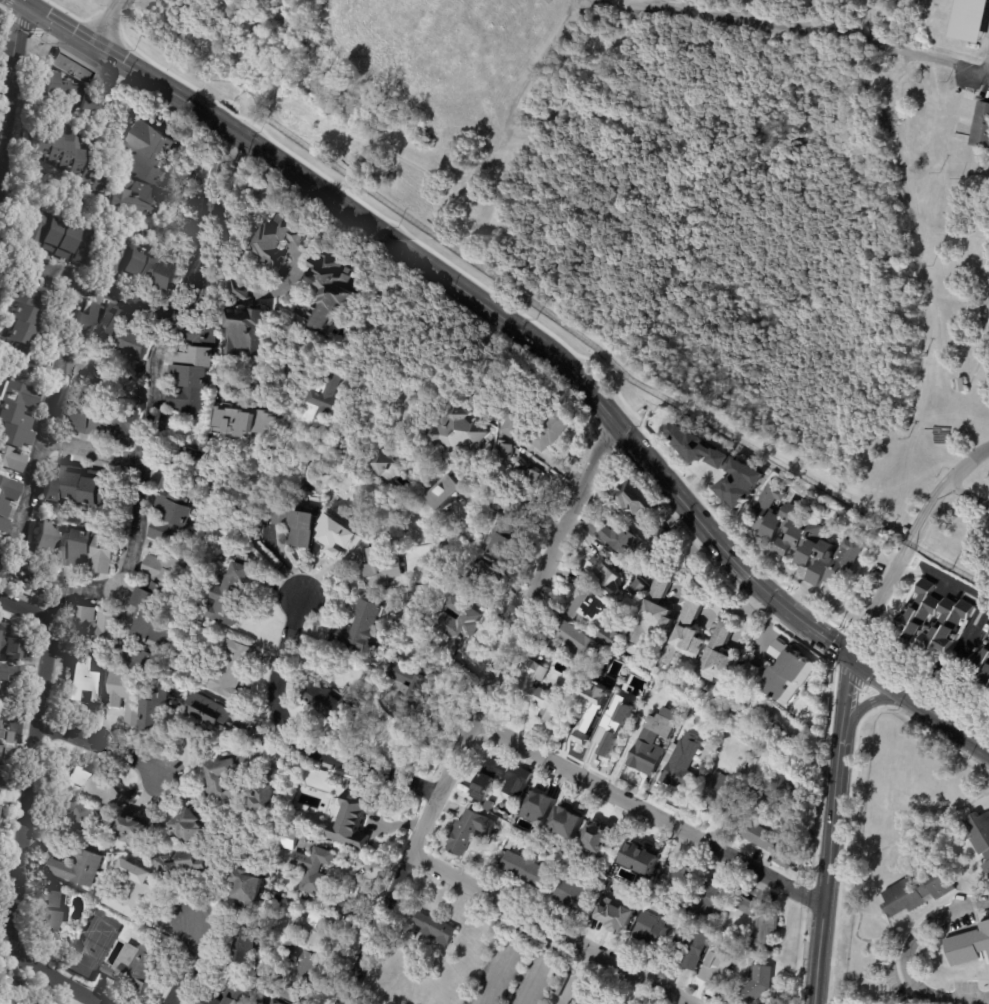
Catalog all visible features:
traffic signals: (19, 2)
building: (969, 20)
road: (108, 24)
road: (810, 26)
building: (71, 68)
road: (9, 69)
building: (76, 96)
building: (982, 124)
building: (71, 158)
building: (144, 172)
building: (53, 233)
building: (278, 236)
road: (315, 247)
building: (139, 267)
building: (328, 287)
road: (467, 291)
road: (119, 292)
building: (243, 324)
building: (30, 328)
building: (114, 329)
building: (191, 369)
building: (961, 385)
building: (222, 386)
building: (490, 388)
building: (320, 397)
building: (236, 417)
building: (100, 418)
building: (511, 424)
building: (16, 425)
building: (275, 426)
building: (314, 428)
building: (553, 428)
building: (456, 434)
building: (322, 439)
building: (341, 445)
road: (86, 447)
building: (505, 449)
road: (549, 459)
building: (385, 463)
building: (520, 464)
building: (720, 467)
building: (84, 488)
building: (448, 490)
building: (520, 494)
road: (968, 495)
building: (175, 498)
building: (636, 498)
building: (7, 501)
building: (282, 513)
building: (302, 527)
building: (662, 536)
building: (623, 537)
building: (806, 539)
building: (500, 543)
road: (909, 547)
building: (76, 548)
road: (129, 550)
building: (653, 553)
building: (624, 564)
building: (382, 567)
road: (794, 573)
building: (606, 577)
building: (481, 580)
road: (943, 581)
building: (637, 586)
road: (706, 591)
building: (233, 595)
road: (838, 603)
building: (589, 606)
road: (26, 608)
building: (655, 614)
building: (156, 617)
building: (929, 620)
building: (96, 627)
building: (462, 628)
building: (361, 629)
building: (688, 635)
building: (613, 636)
building: (10, 642)
building: (580, 642)
building: (721, 656)
traffic signals: (854, 662)
building: (982, 666)
building: (232, 670)
building: (781, 672)
building: (747, 675)
building: (85, 678)
building: (10, 680)
building: (414, 688)
building: (543, 690)
building: (127, 694)
road: (871, 701)
building: (335, 703)
building: (592, 706)
road: (920, 706)
building: (161, 709)
road: (478, 712)
building: (209, 716)
building: (693, 716)
building: (618, 719)
building: (563, 720)
building: (1, 724)
building: (245, 727)
building: (687, 732)
road: (293, 737)
building: (778, 737)
building: (657, 738)
road: (100, 747)
building: (5, 752)
building: (752, 756)
building: (680, 772)
building: (230, 774)
building: (519, 780)
building: (94, 786)
building: (786, 786)
building: (754, 790)
building: (724, 792)
building: (269, 796)
building: (540, 808)
road: (649, 811)
building: (81, 818)
building: (355, 819)
building: (566, 822)
building: (195, 824)
building: (139, 829)
building: (470, 831)
road: (831, 832)
building: (980, 835)
building: (600, 836)
road: (20, 839)
building: (288, 839)
building: (767, 841)
building: (641, 857)
building: (185, 863)
building: (79, 866)
building: (526, 869)
building: (314, 870)
building: (287, 874)
building: (680, 881)
building: (917, 891)
building: (249, 892)
building: (135, 894)
building: (571, 895)
building: (711, 903)
building: (337, 904)
building: (749, 907)
building: (53, 915)
building: (616, 917)
building: (316, 927)
building: (436, 928)
road: (551, 929)
building: (652, 932)
building: (766, 933)
building: (245, 942)
road: (547, 944)
building: (968, 946)
building: (692, 947)
road: (903, 960)
building: (752, 963)
building: (138, 965)
road: (184, 966)
road: (496, 966)
building: (716, 969)
building: (298, 971)
road: (532, 974)
road: (573, 975)
building: (760, 983)
building: (228, 994)
building: (9, 1000)
building: (271, 1001)
building: (637, 1003)

